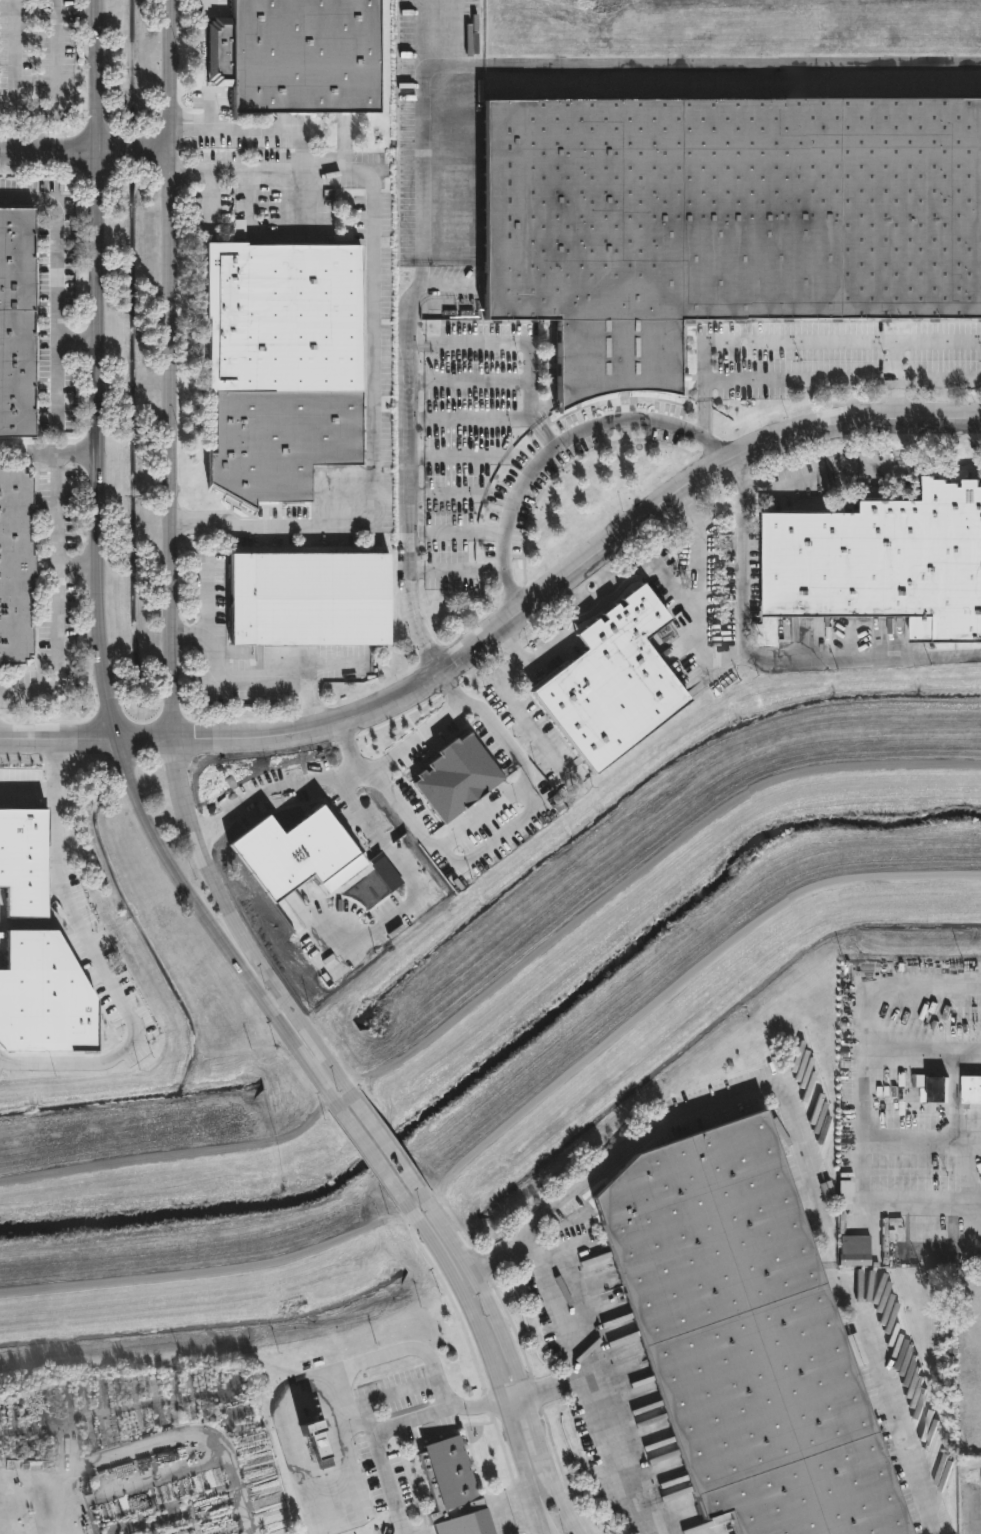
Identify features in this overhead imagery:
road: (15, 7)
road: (57, 7)
road: (16, 49)
building: (293, 56)
road: (607, 70)
road: (56, 71)
road: (49, 150)
road: (136, 150)
road: (301, 152)
building: (720, 221)
road: (55, 286)
building: (22, 325)
road: (78, 339)
road: (507, 343)
road: (825, 344)
building: (278, 367)
road: (171, 369)
road: (933, 380)
road: (789, 381)
road: (895, 405)
road: (374, 411)
road: (471, 415)
road: (704, 419)
road: (547, 432)
road: (558, 443)
road: (50, 451)
road: (407, 468)
road: (821, 475)
road: (78, 563)
building: (882, 565)
building: (13, 567)
road: (577, 571)
road: (99, 580)
road: (56, 596)
building: (306, 599)
road: (736, 652)
road: (856, 660)
road: (248, 679)
building: (608, 685)
road: (511, 699)
road: (418, 737)
road: (88, 738)
road: (183, 781)
road: (30, 793)
road: (286, 797)
road: (482, 818)
road: (490, 841)
road: (257, 963)
road: (107, 966)
road: (923, 1047)
building: (935, 1090)
building: (971, 1091)
road: (864, 1110)
road: (795, 1134)
road: (383, 1144)
road: (369, 1156)
building: (861, 1252)
road: (558, 1306)
building: (740, 1336)
road: (512, 1360)
road: (491, 1366)
road: (314, 1383)
road: (347, 1391)
road: (378, 1396)
road: (474, 1407)
road: (610, 1420)
road: (376, 1446)
road: (343, 1457)
building: (449, 1489)
road: (540, 1524)

